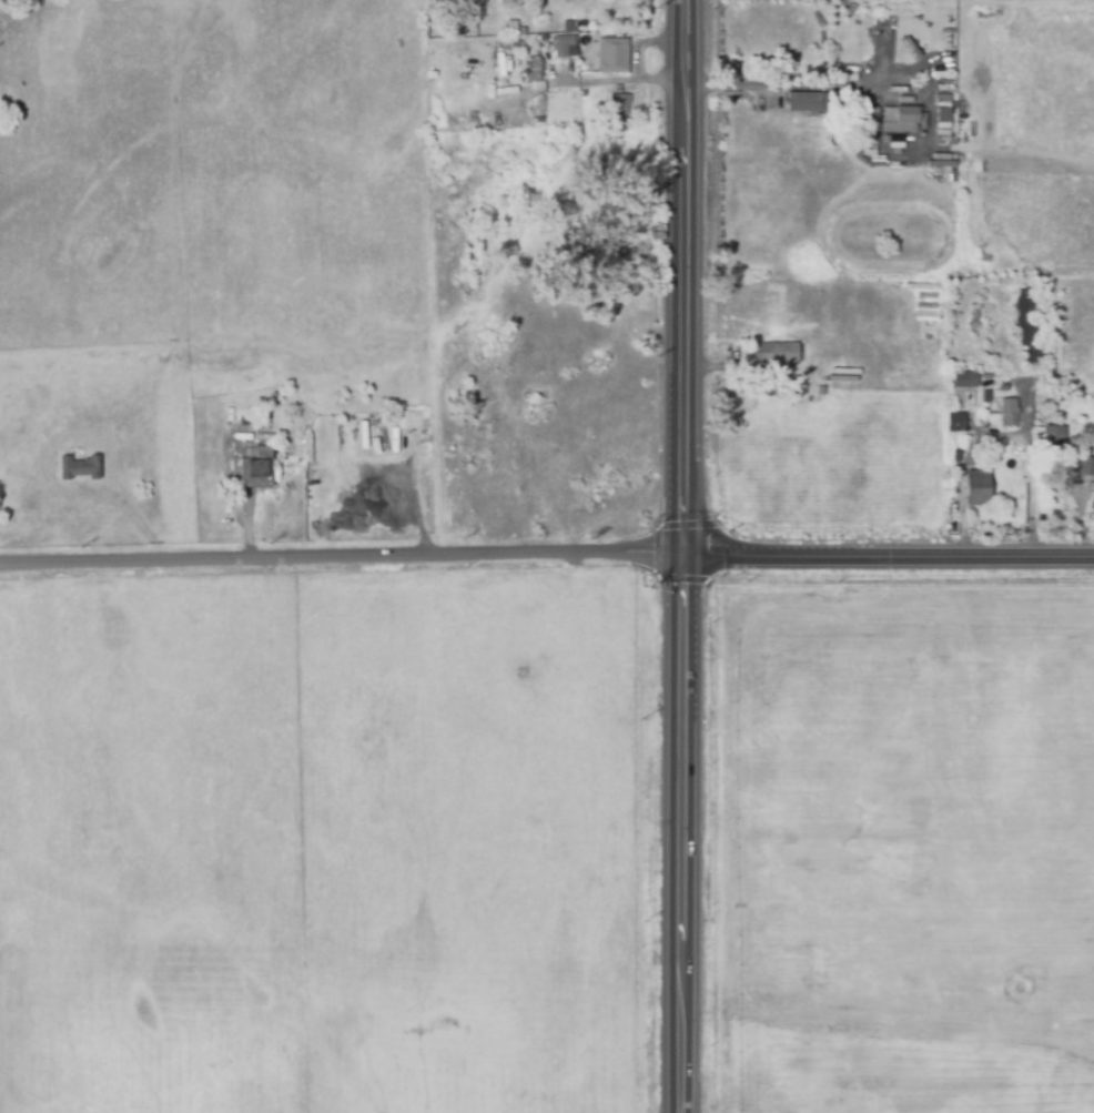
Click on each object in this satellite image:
building: (475, 0)
building: (535, 9)
building: (475, 14)
building: (514, 21)
building: (569, 22)
building: (502, 43)
building: (561, 47)
building: (611, 55)
road: (829, 84)
building: (943, 101)
building: (806, 103)
building: (619, 104)
building: (941, 118)
building: (899, 120)
building: (865, 122)
building: (941, 135)
road: (1014, 149)
road: (675, 280)
building: (1001, 353)
building: (764, 357)
building: (966, 380)
building: (1001, 387)
building: (787, 392)
building: (1007, 417)
building: (408, 419)
building: (955, 423)
building: (1053, 448)
building: (955, 456)
road: (1026, 456)
building: (1086, 466)
building: (79, 468)
building: (250, 471)
building: (976, 488)
road: (961, 512)
road: (883, 558)
road: (337, 563)
road: (671, 837)

